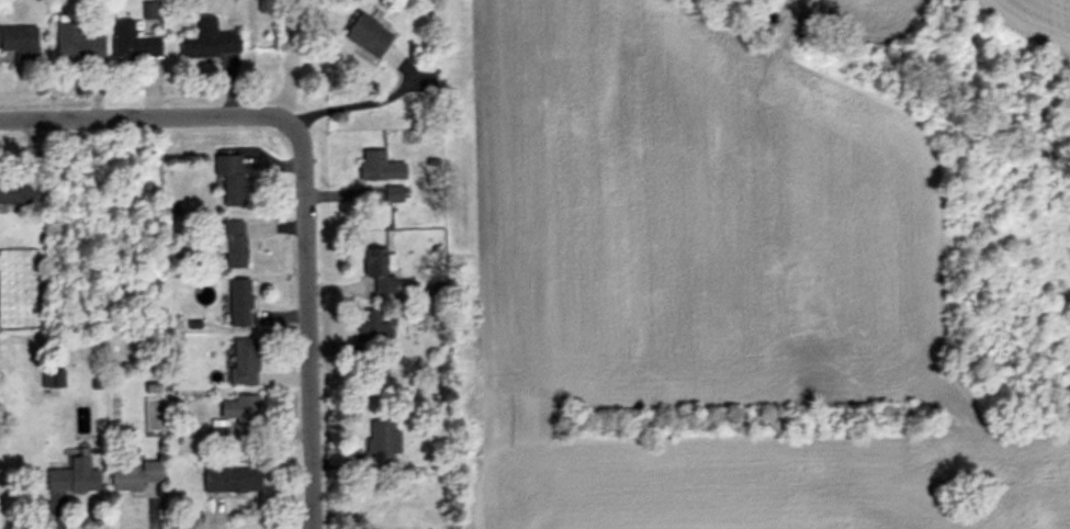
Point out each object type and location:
building: (368, 35)
building: (19, 41)
building: (207, 41)
building: (133, 42)
building: (76, 43)
road: (359, 104)
road: (147, 115)
building: (378, 166)
building: (229, 178)
building: (12, 192)
building: (392, 193)
building: (233, 245)
building: (378, 269)
building: (238, 303)
road: (312, 319)
building: (371, 335)
building: (243, 362)
building: (239, 410)
building: (379, 446)
building: (72, 477)
building: (131, 477)
building: (228, 483)

